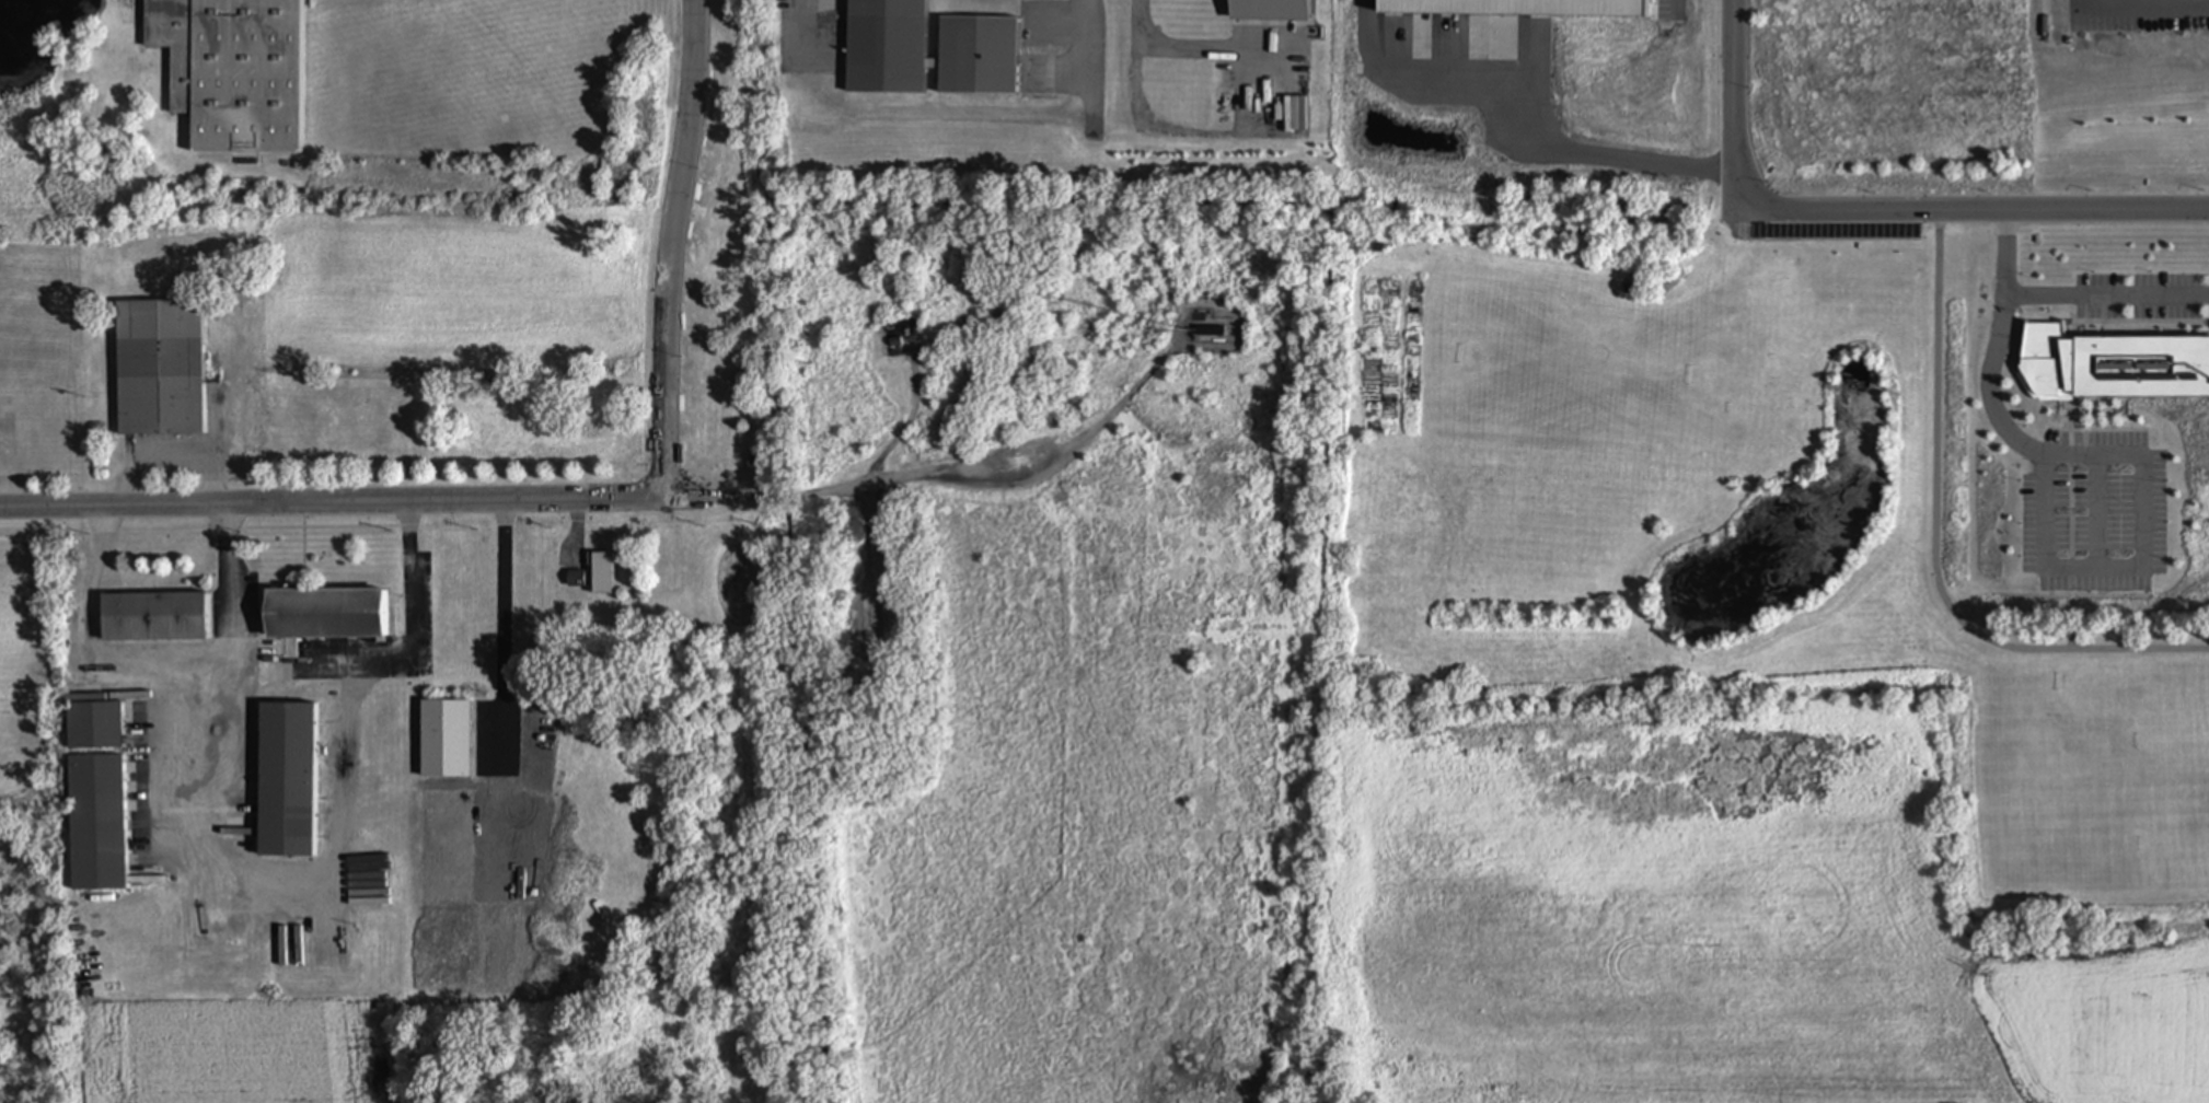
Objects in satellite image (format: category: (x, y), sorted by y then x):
road: (1672, 8)
road: (2130, 9)
building: (1269, 11)
road: (808, 32)
building: (888, 37)
road: (1079, 45)
road: (1194, 50)
building: (234, 71)
road: (1519, 124)
road: (1750, 191)
road: (2074, 211)
road: (672, 247)
road: (2063, 298)
building: (1211, 332)
building: (2114, 365)
road: (1984, 367)
building: (160, 368)
road: (597, 497)
road: (1934, 547)
building: (604, 574)
building: (576, 582)
building: (326, 614)
building: (152, 616)
road: (505, 627)
road: (235, 632)
road: (397, 665)
crop: (27, 666)
park: (1710, 693)
building: (94, 727)
building: (446, 739)
building: (287, 780)
building: (96, 823)
road: (267, 892)

